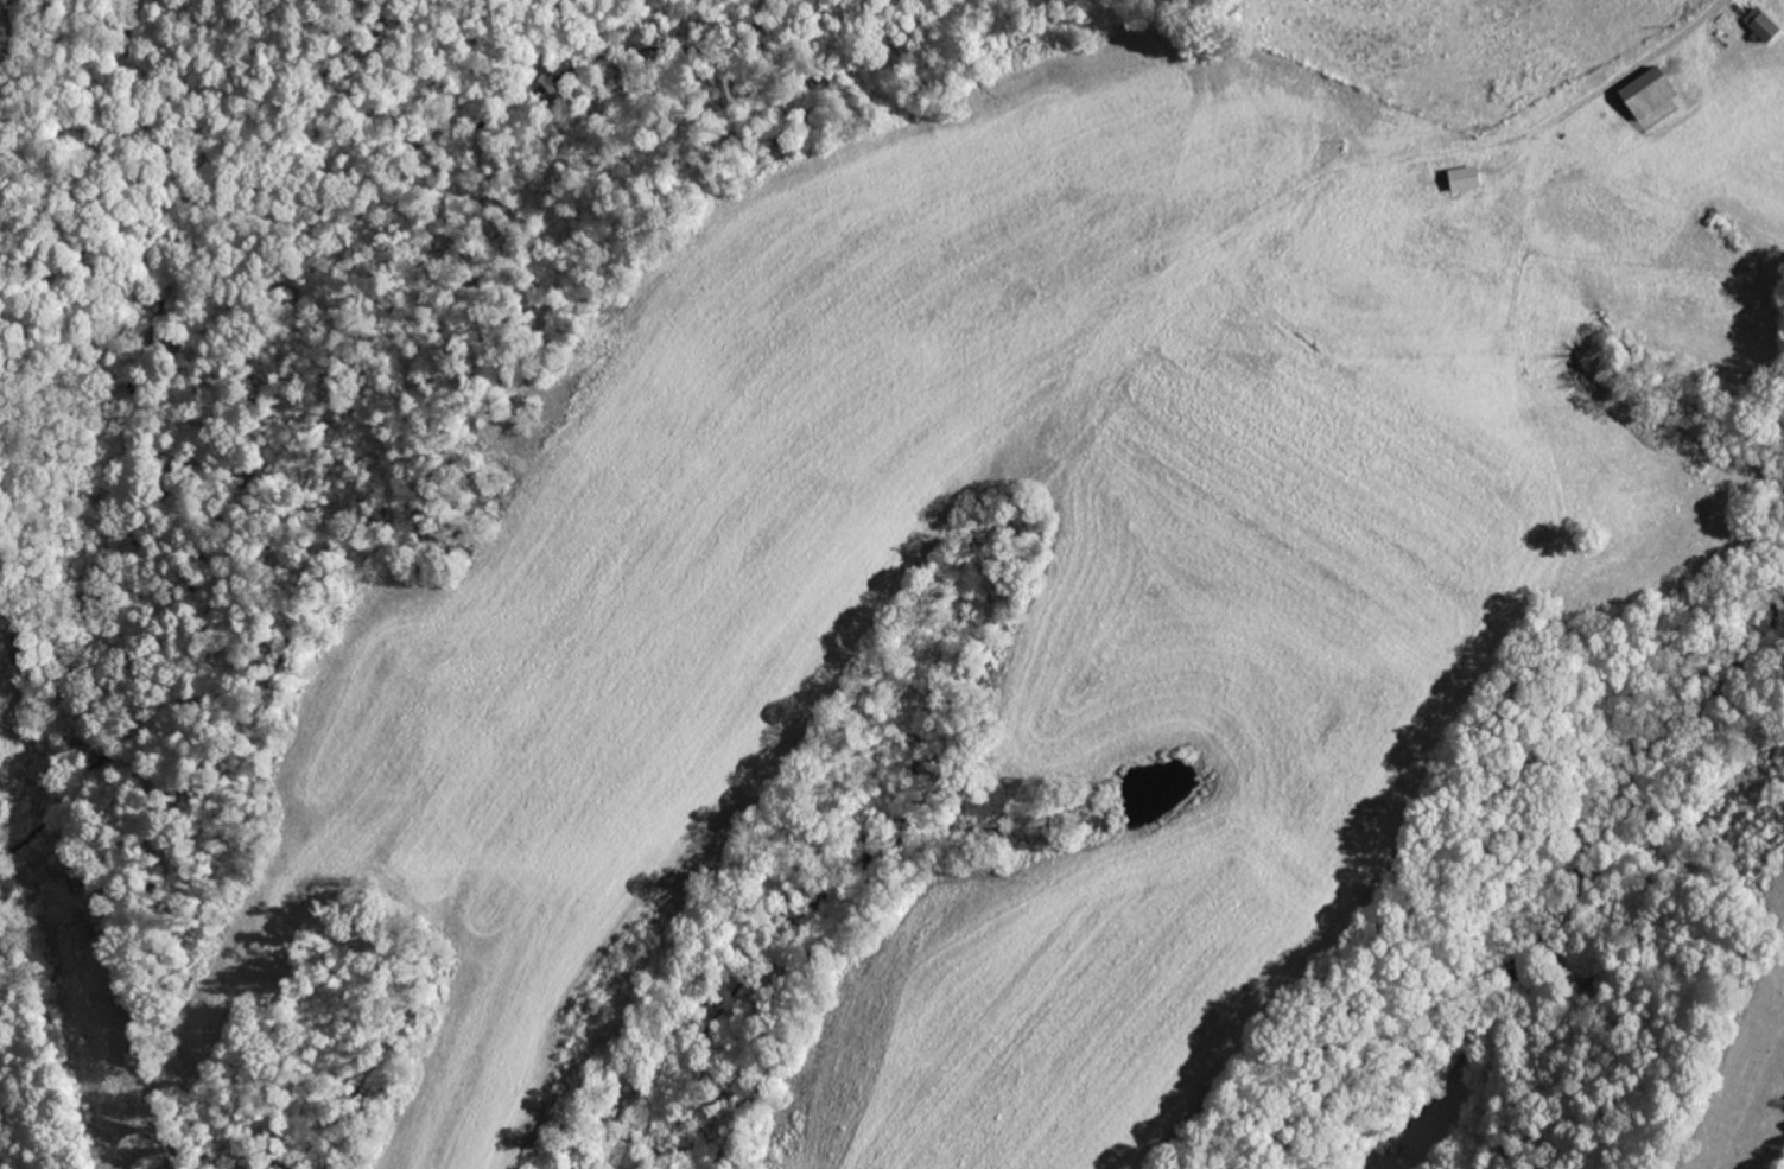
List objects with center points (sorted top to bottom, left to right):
building: (1655, 94)
road: (1541, 123)
building: (1471, 179)

